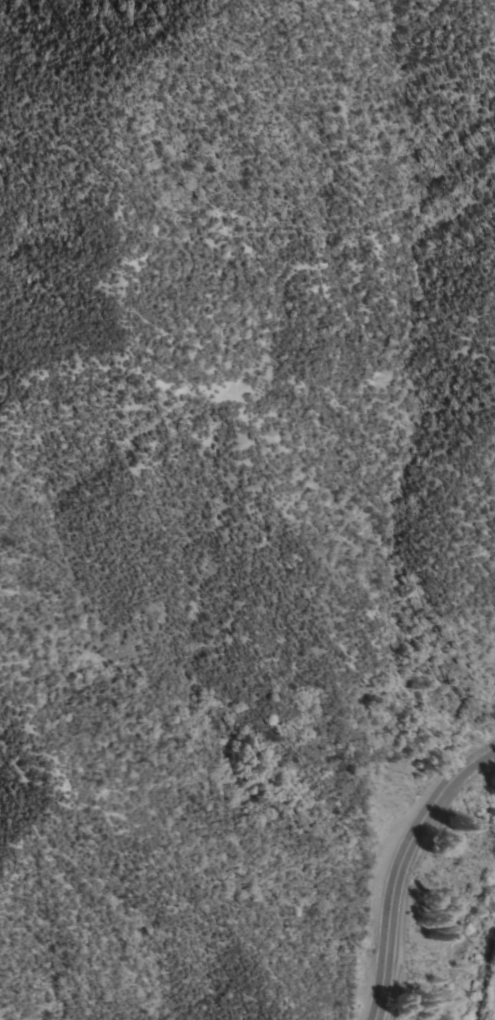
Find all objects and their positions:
road: (404, 874)

